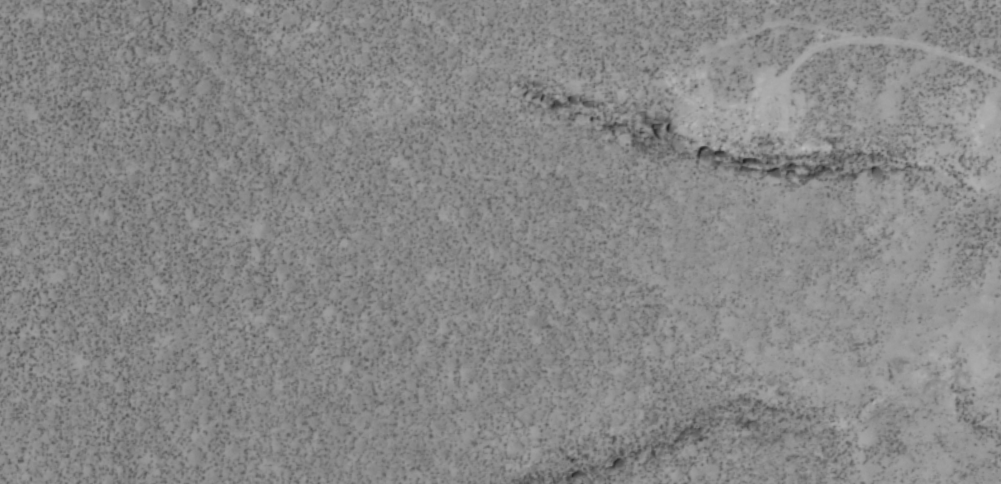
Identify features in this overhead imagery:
road: (873, 53)

